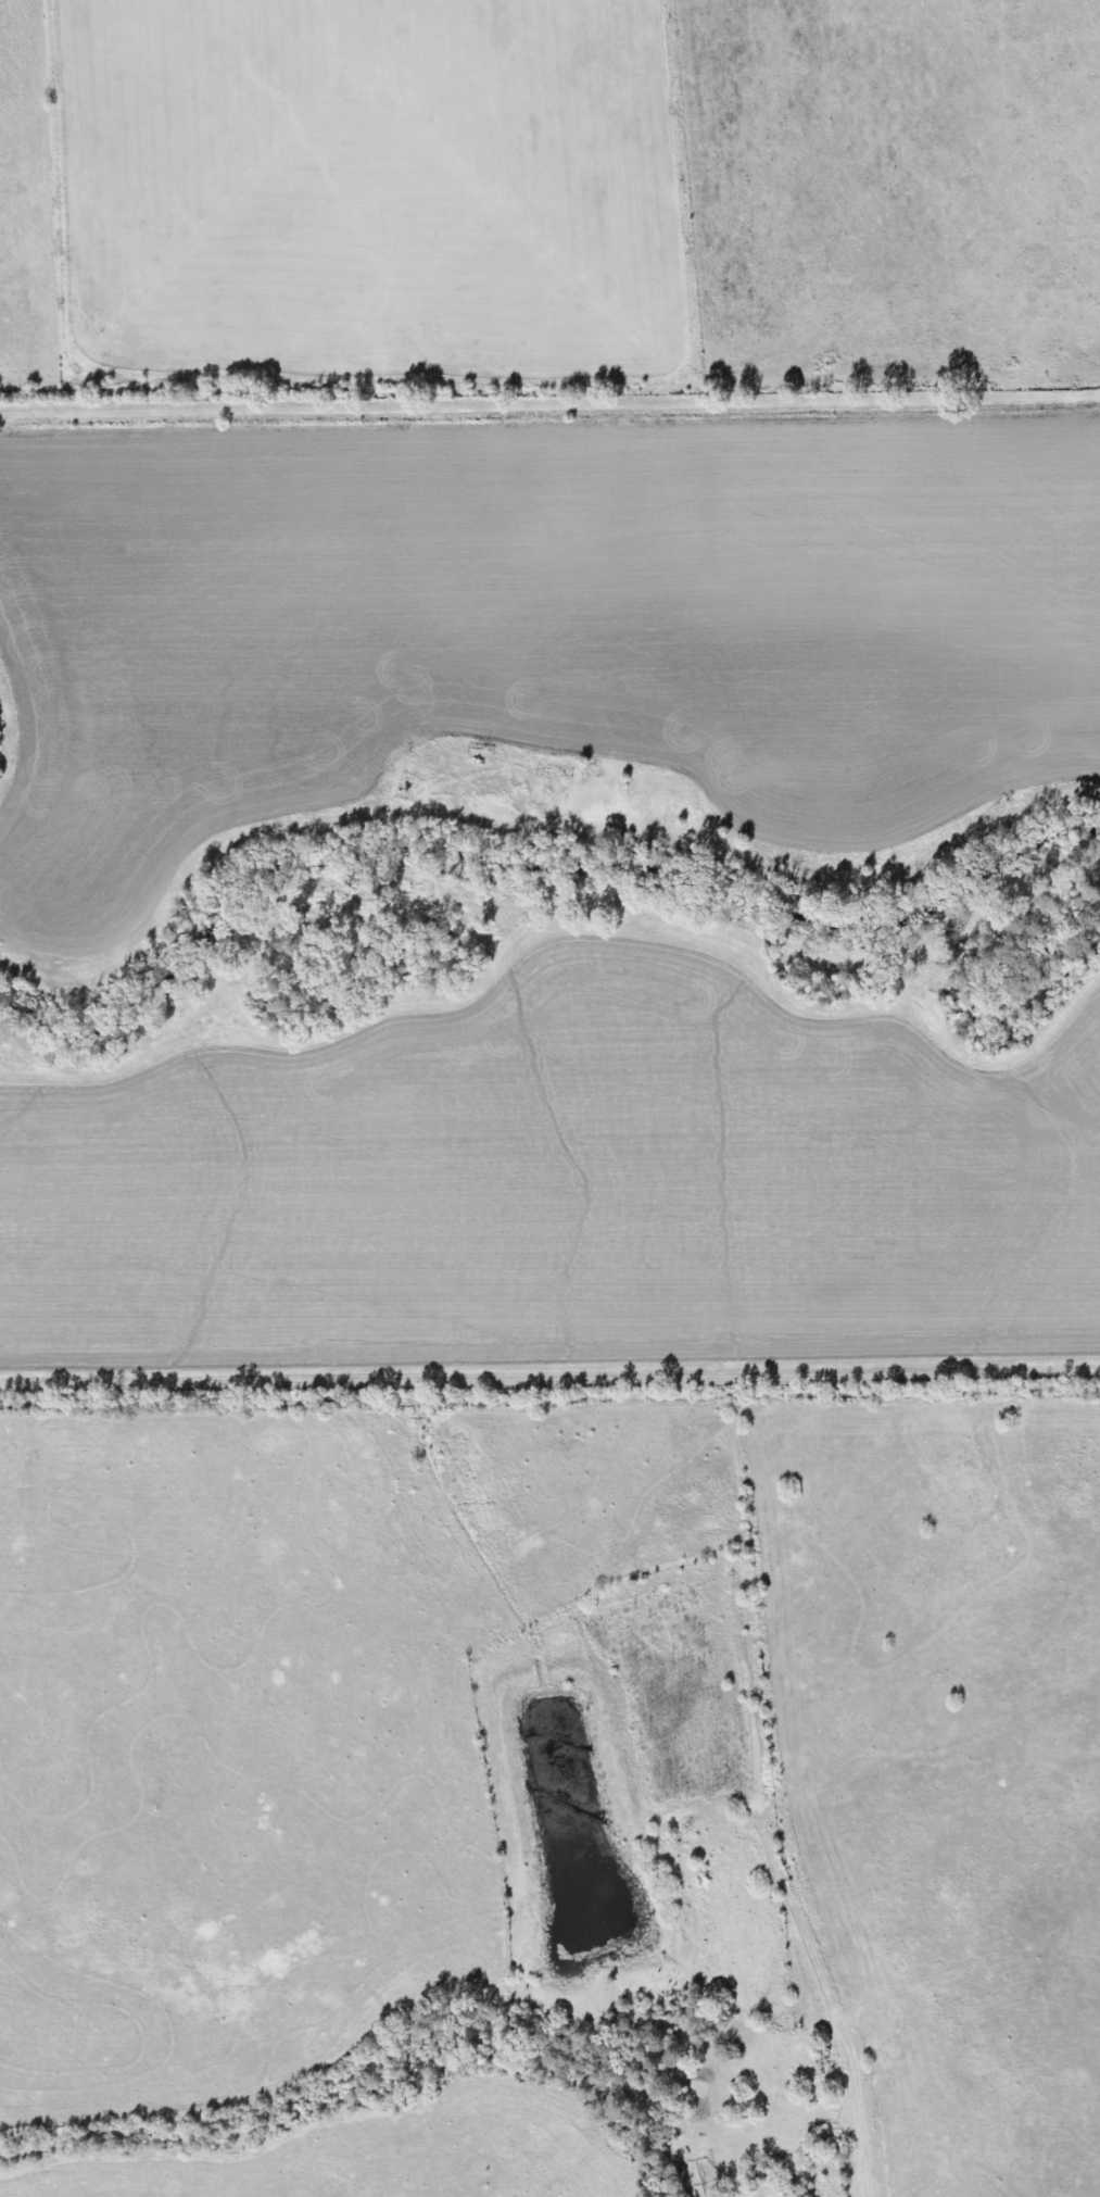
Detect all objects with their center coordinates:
road: (751, 2176)

